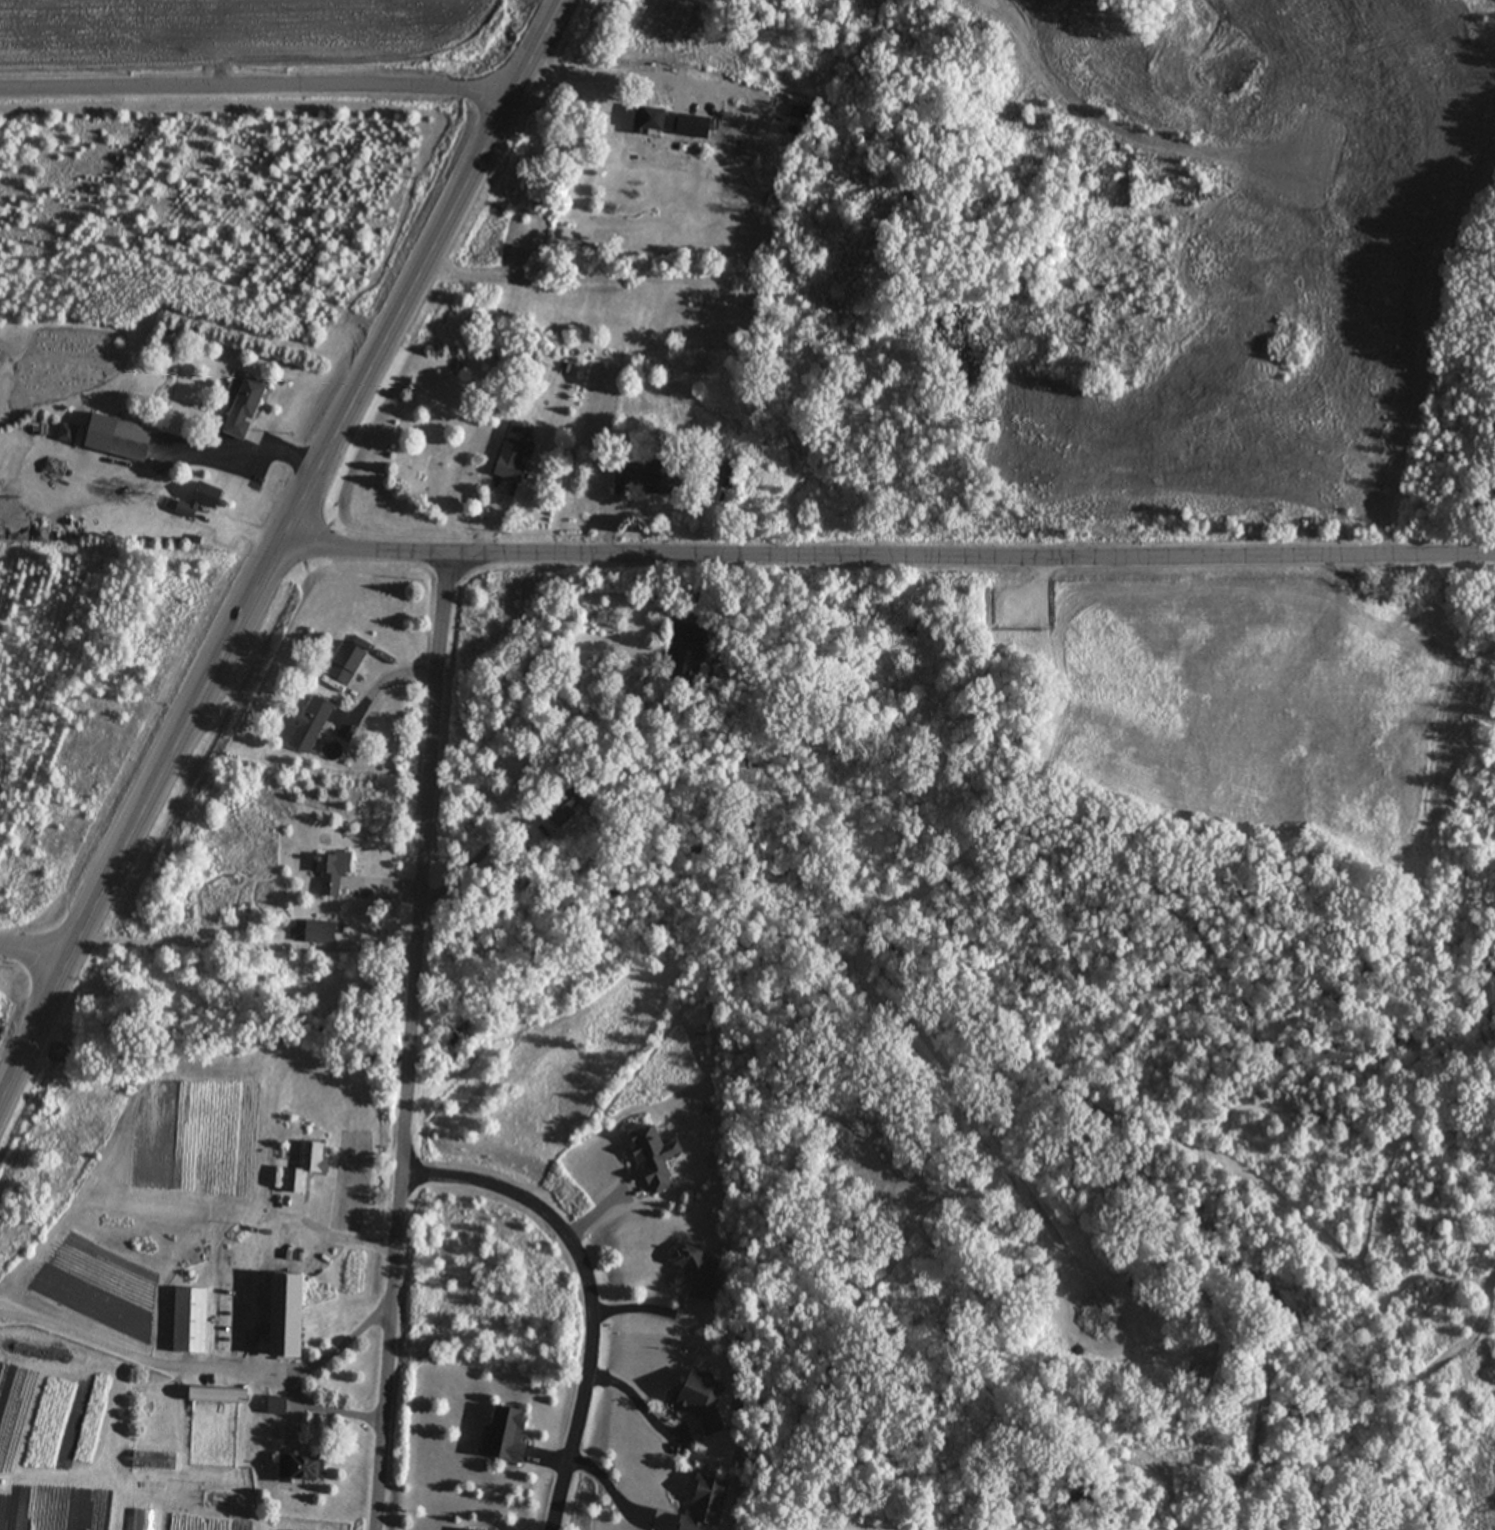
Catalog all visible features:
building: (763, 62)
road: (607, 76)
road: (256, 96)
building: (647, 121)
building: (721, 124)
building: (240, 410)
building: (104, 438)
building: (510, 453)
building: (640, 476)
building: (724, 476)
building: (192, 502)
road: (276, 554)
road: (886, 554)
building: (342, 664)
building: (681, 666)
road: (386, 678)
building: (306, 725)
building: (561, 805)
building: (329, 871)
building: (317, 933)
road: (204, 940)
road: (36, 961)
road: (413, 1043)
park: (1125, 1045)
road: (606, 1200)
road: (331, 1229)
building: (696, 1269)
road: (589, 1290)
road: (648, 1306)
building: (276, 1316)
building: (185, 1321)
road: (204, 1363)
road: (635, 1397)
building: (695, 1400)
road: (330, 1405)
building: (272, 1406)
building: (500, 1435)
building: (295, 1469)
road: (617, 1498)
building: (215, 1500)
building: (699, 1505)
building: (143, 1520)

